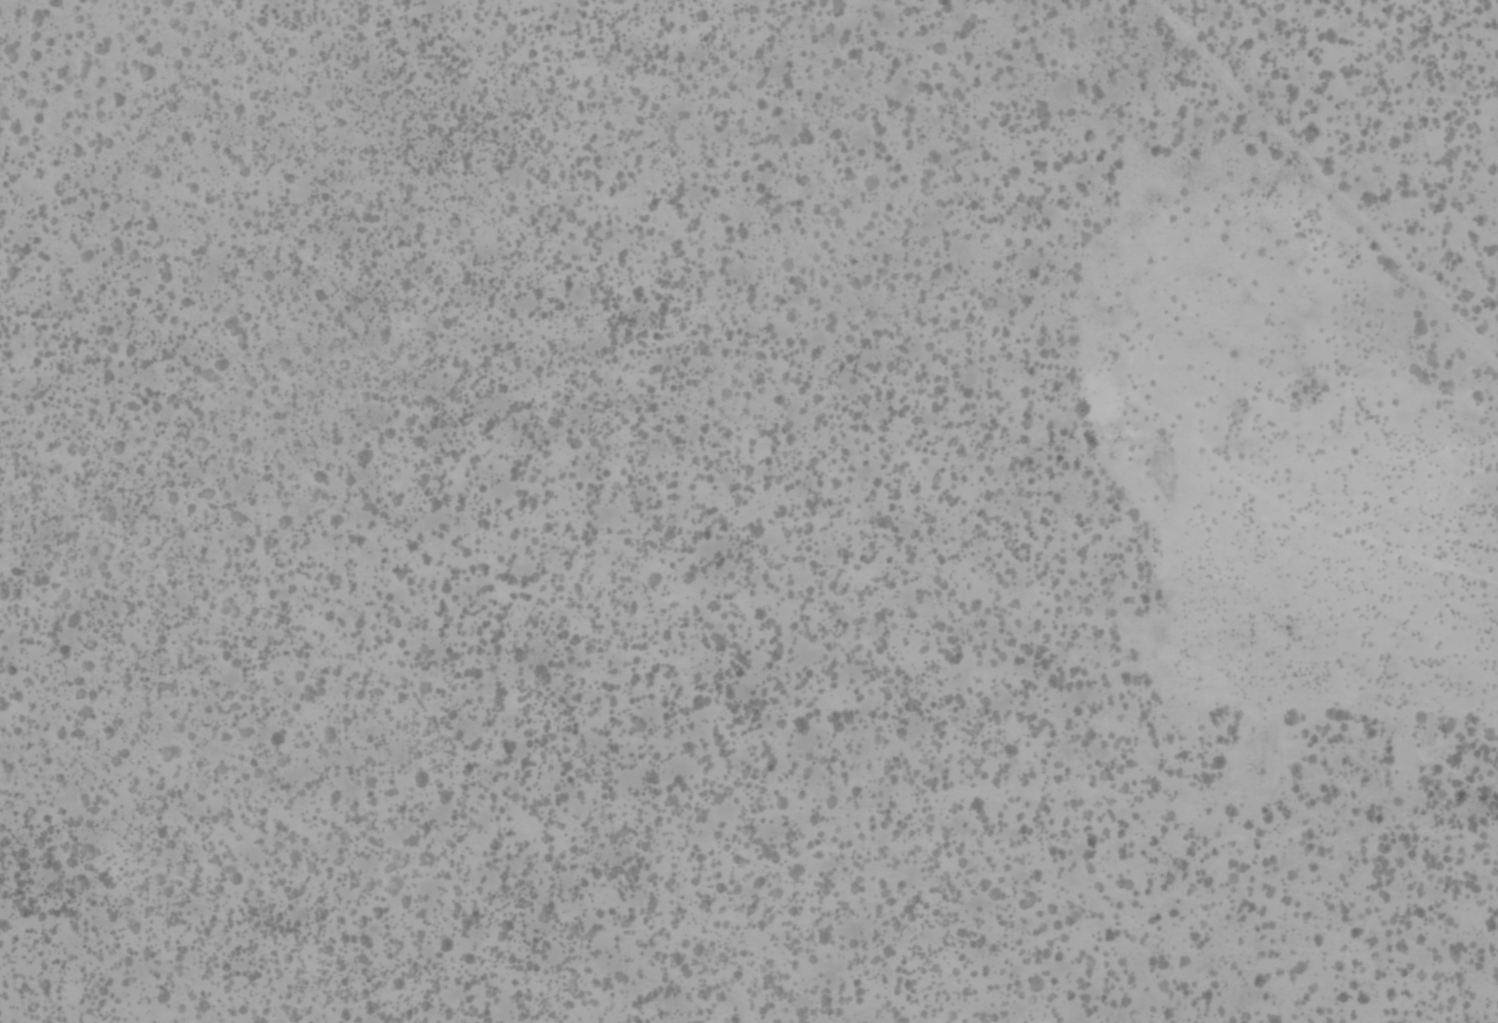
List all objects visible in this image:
road: (1328, 181)

